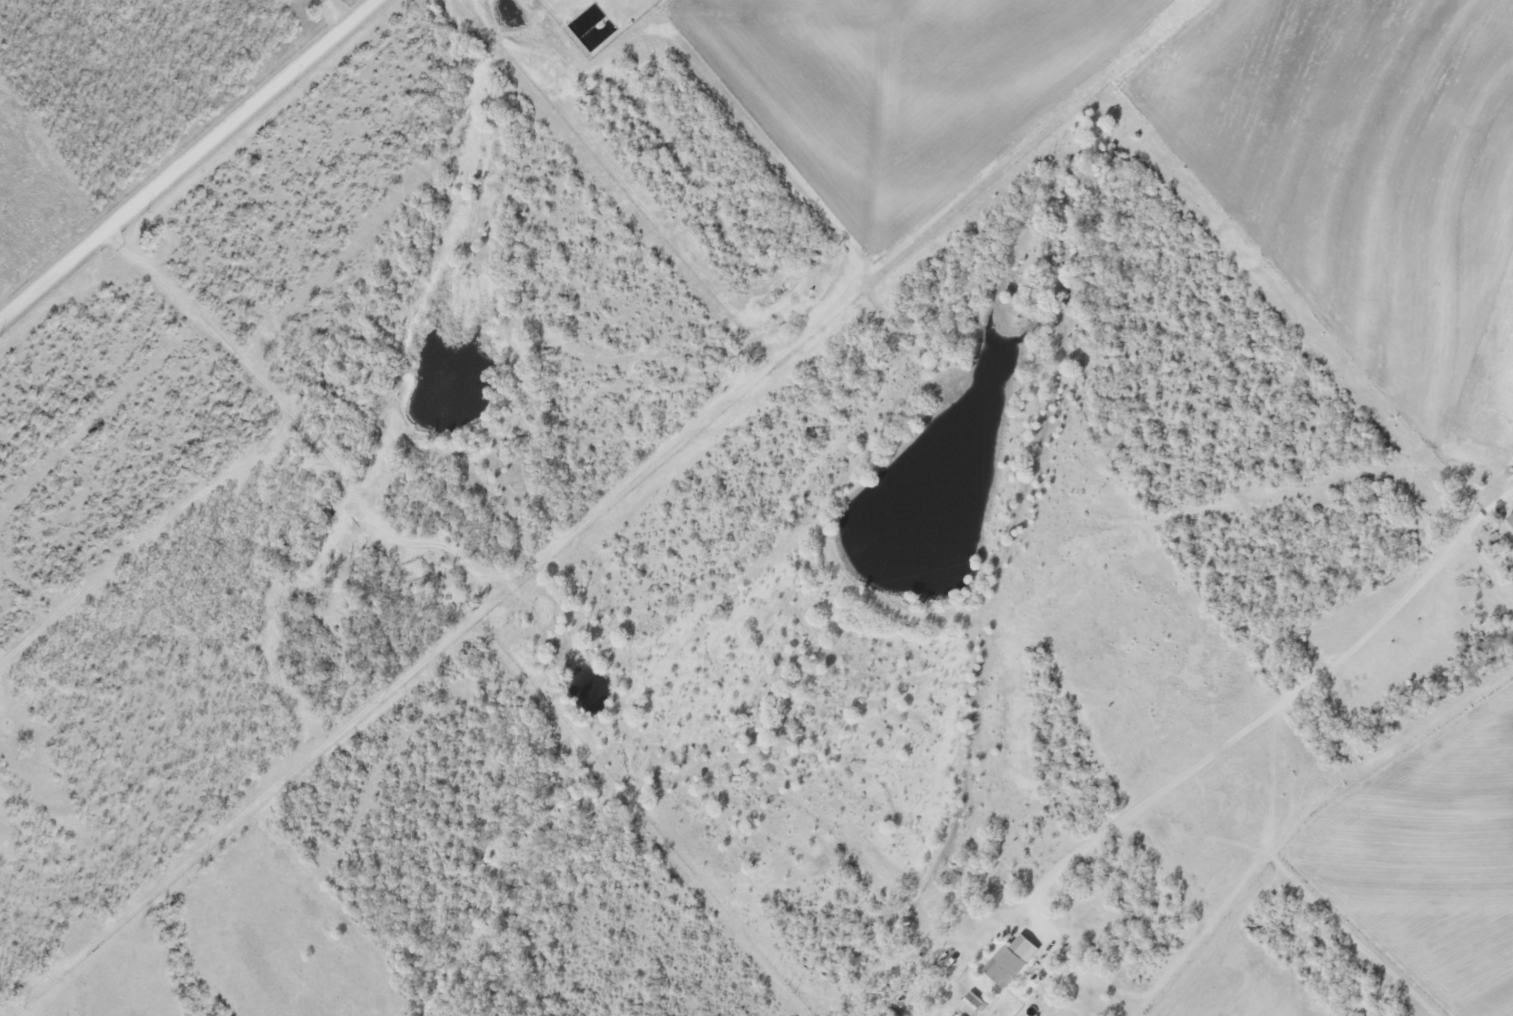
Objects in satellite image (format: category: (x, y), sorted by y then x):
road: (189, 161)
road: (248, 367)
building: (1510, 519)
road: (1276, 711)
building: (1010, 961)
building: (970, 1004)

